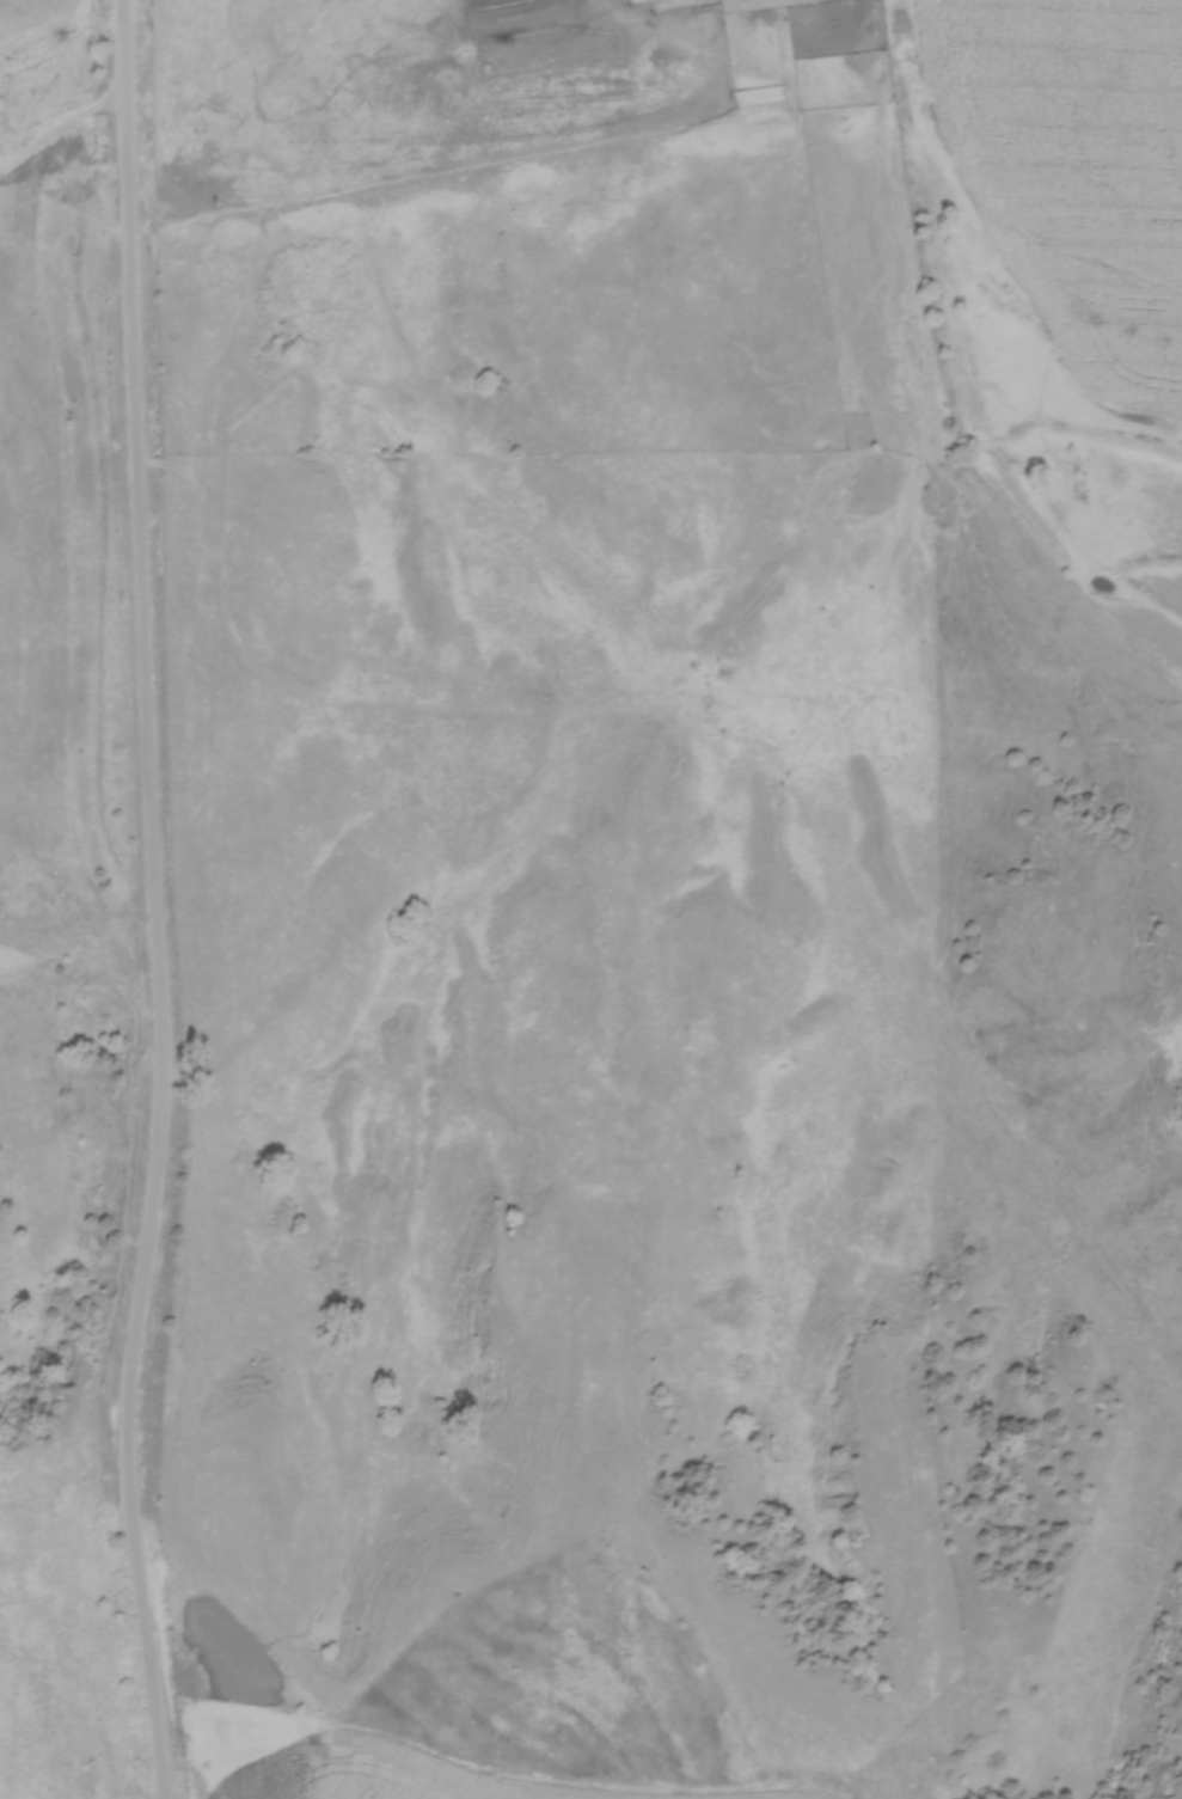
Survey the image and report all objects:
building: (803, 56)
road: (157, 901)

